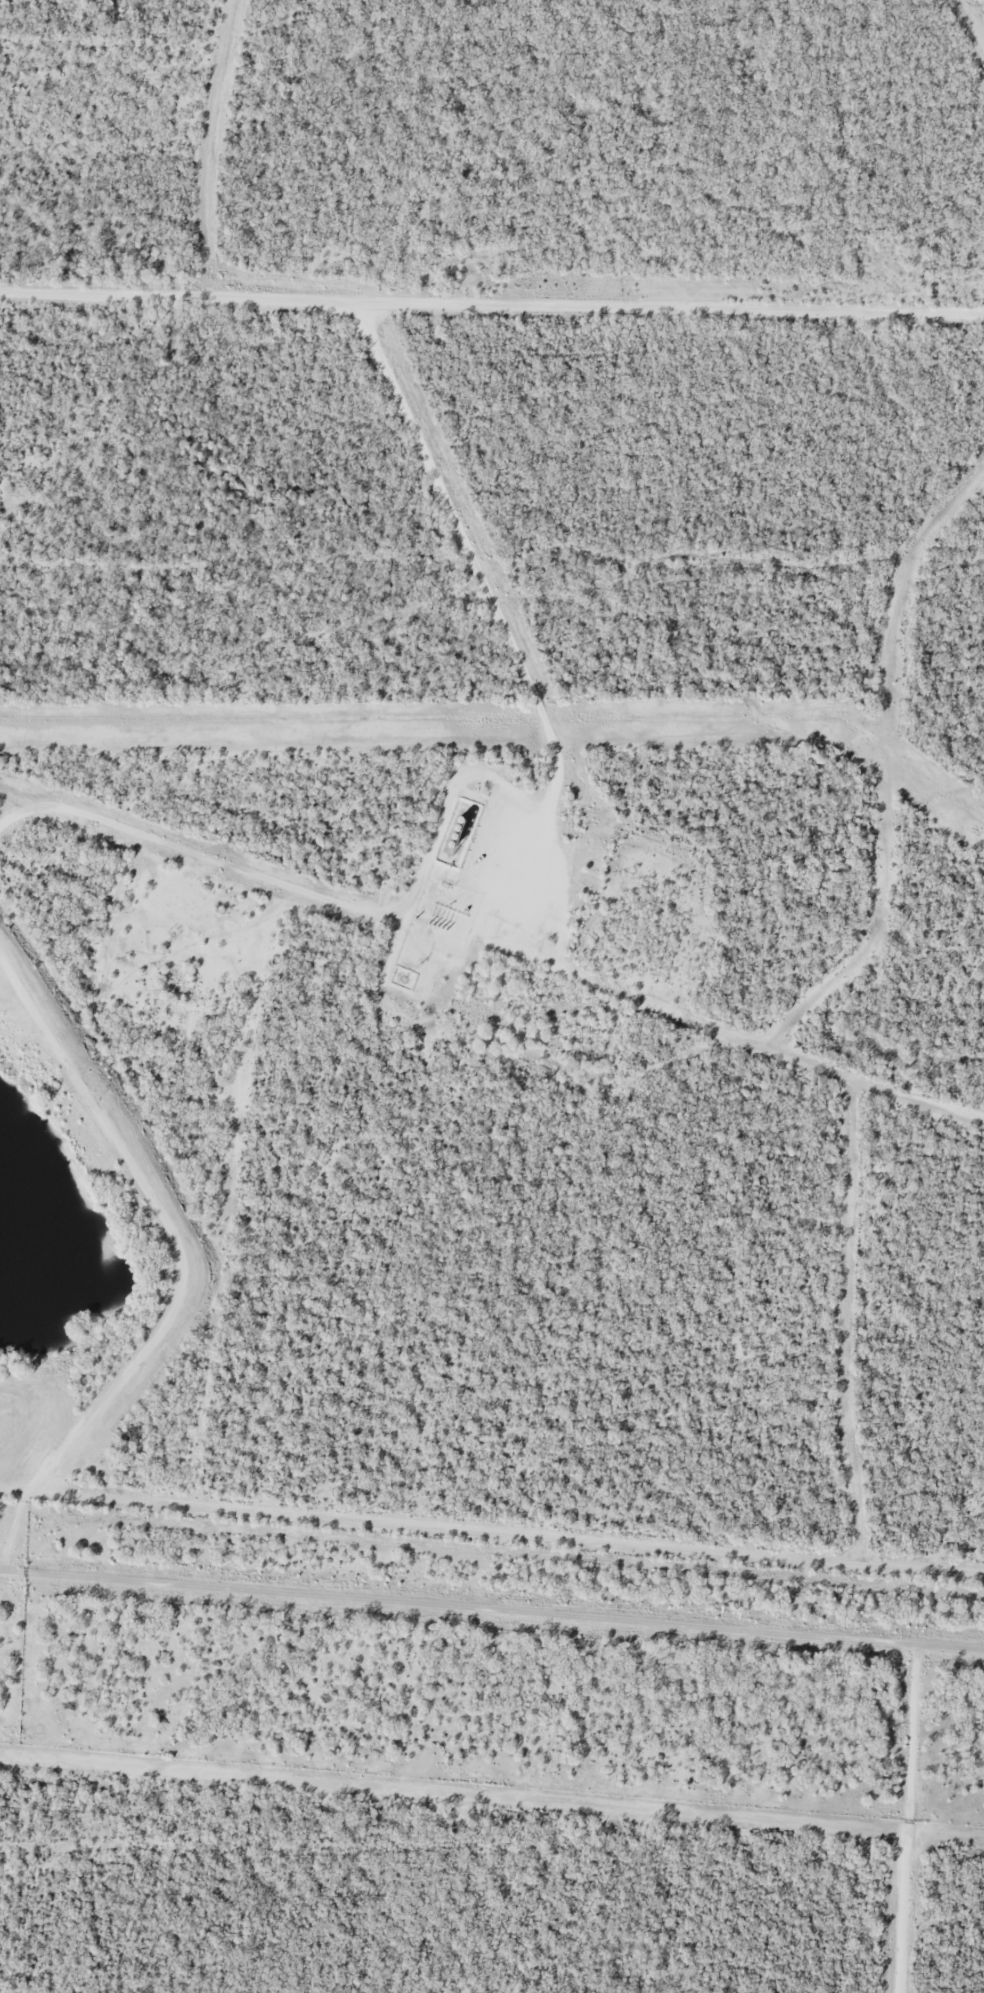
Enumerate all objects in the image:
road: (492, 1608)

